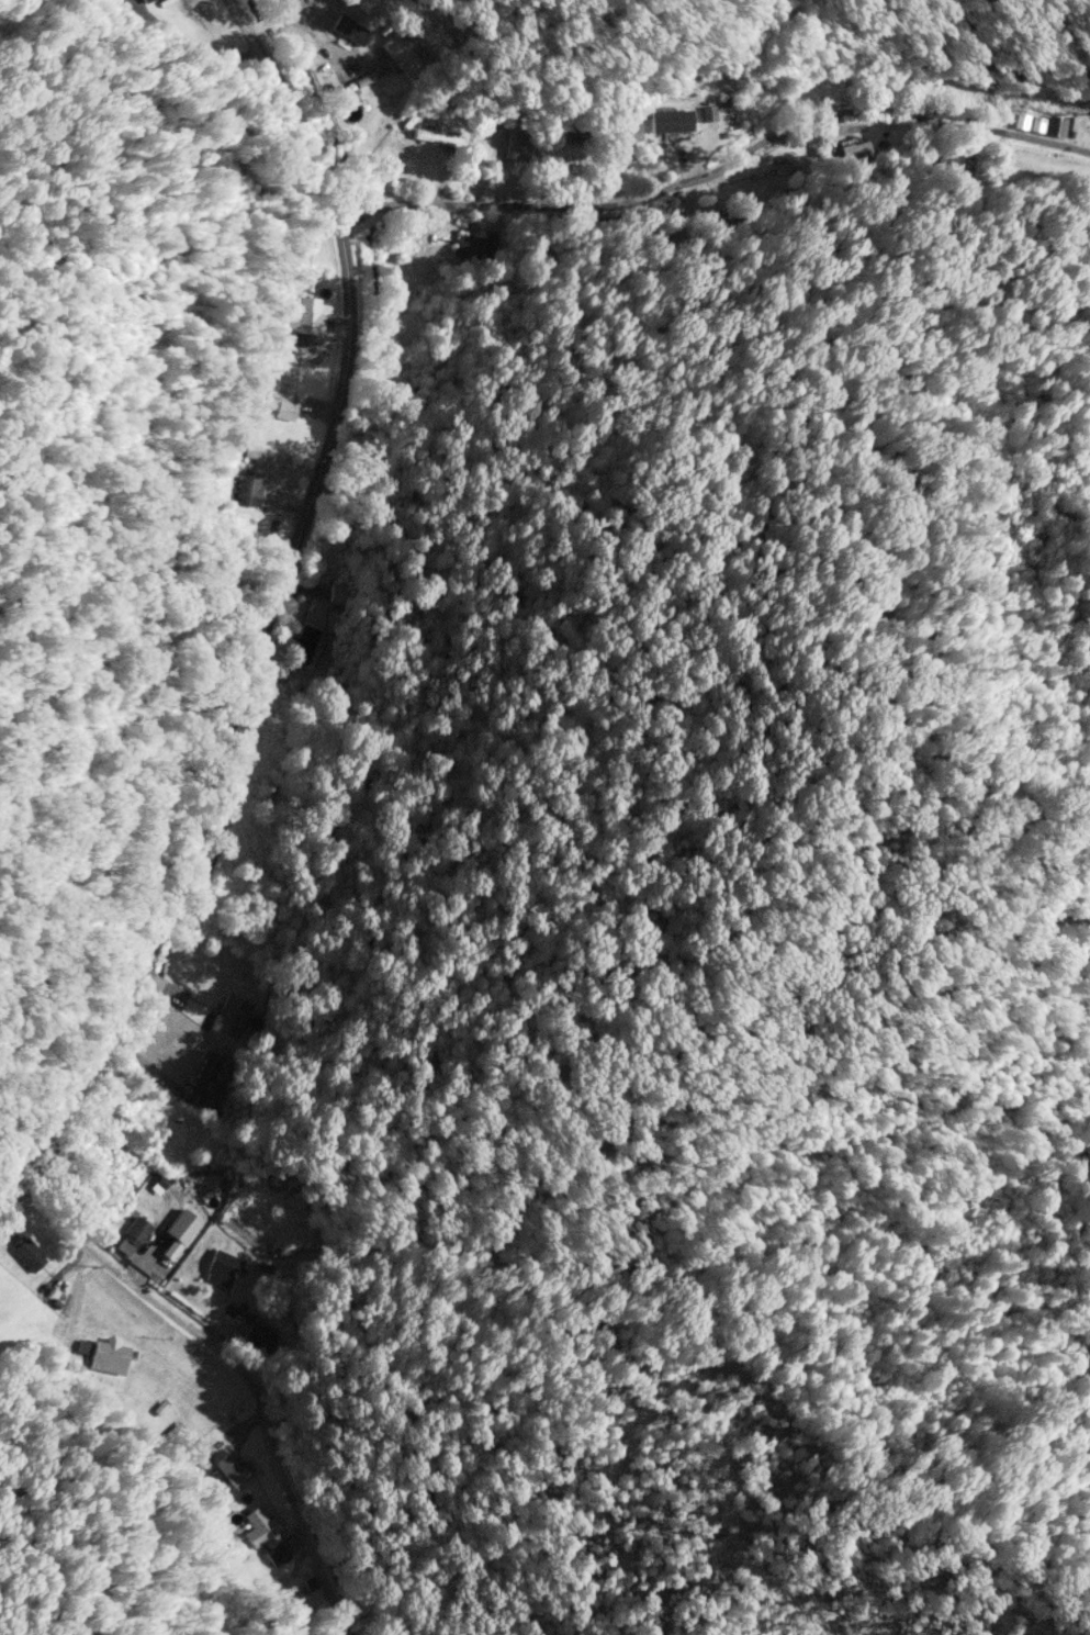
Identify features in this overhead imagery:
building: (144, 0)
road: (302, 23)
building: (350, 30)
building: (401, 55)
building: (708, 113)
building: (670, 121)
building: (1027, 122)
building: (1055, 126)
building: (628, 130)
building: (436, 136)
building: (855, 154)
building: (954, 166)
road: (721, 170)
building: (473, 247)
building: (305, 317)
building: (286, 410)
building: (247, 491)
building: (337, 594)
road: (268, 606)
building: (305, 645)
building: (229, 1016)
building: (200, 1078)
building: (180, 1232)
building: (132, 1236)
building: (26, 1253)
building: (222, 1267)
building: (258, 1336)
building: (109, 1356)
road: (243, 1364)
building: (180, 1434)
building: (234, 1469)
building: (261, 1528)
building: (277, 1554)

